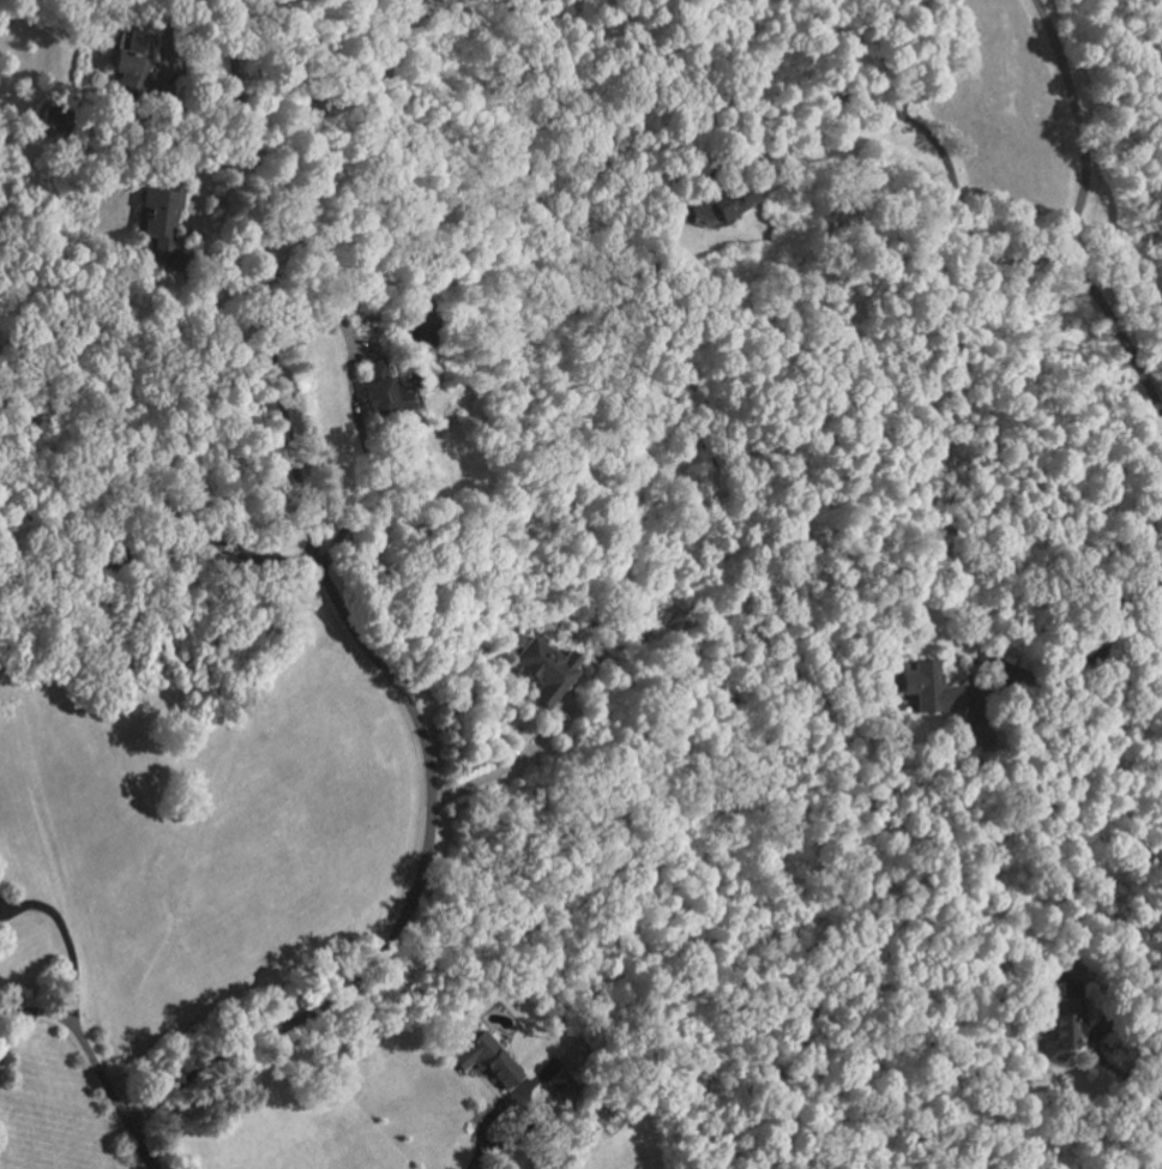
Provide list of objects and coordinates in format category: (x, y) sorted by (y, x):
road: (165, 25)
building: (142, 70)
building: (59, 119)
road: (944, 159)
road: (1080, 216)
building: (167, 225)
building: (384, 388)
road: (350, 390)
road: (157, 544)
road: (1103, 647)
road: (379, 663)
building: (547, 668)
building: (932, 688)
building: (980, 735)
road: (501, 761)
road: (65, 941)
road: (38, 1014)
road: (1102, 1029)
building: (1066, 1032)
building: (490, 1060)
road: (97, 1068)
building: (564, 1086)
road: (1151, 1093)
road: (480, 1123)

